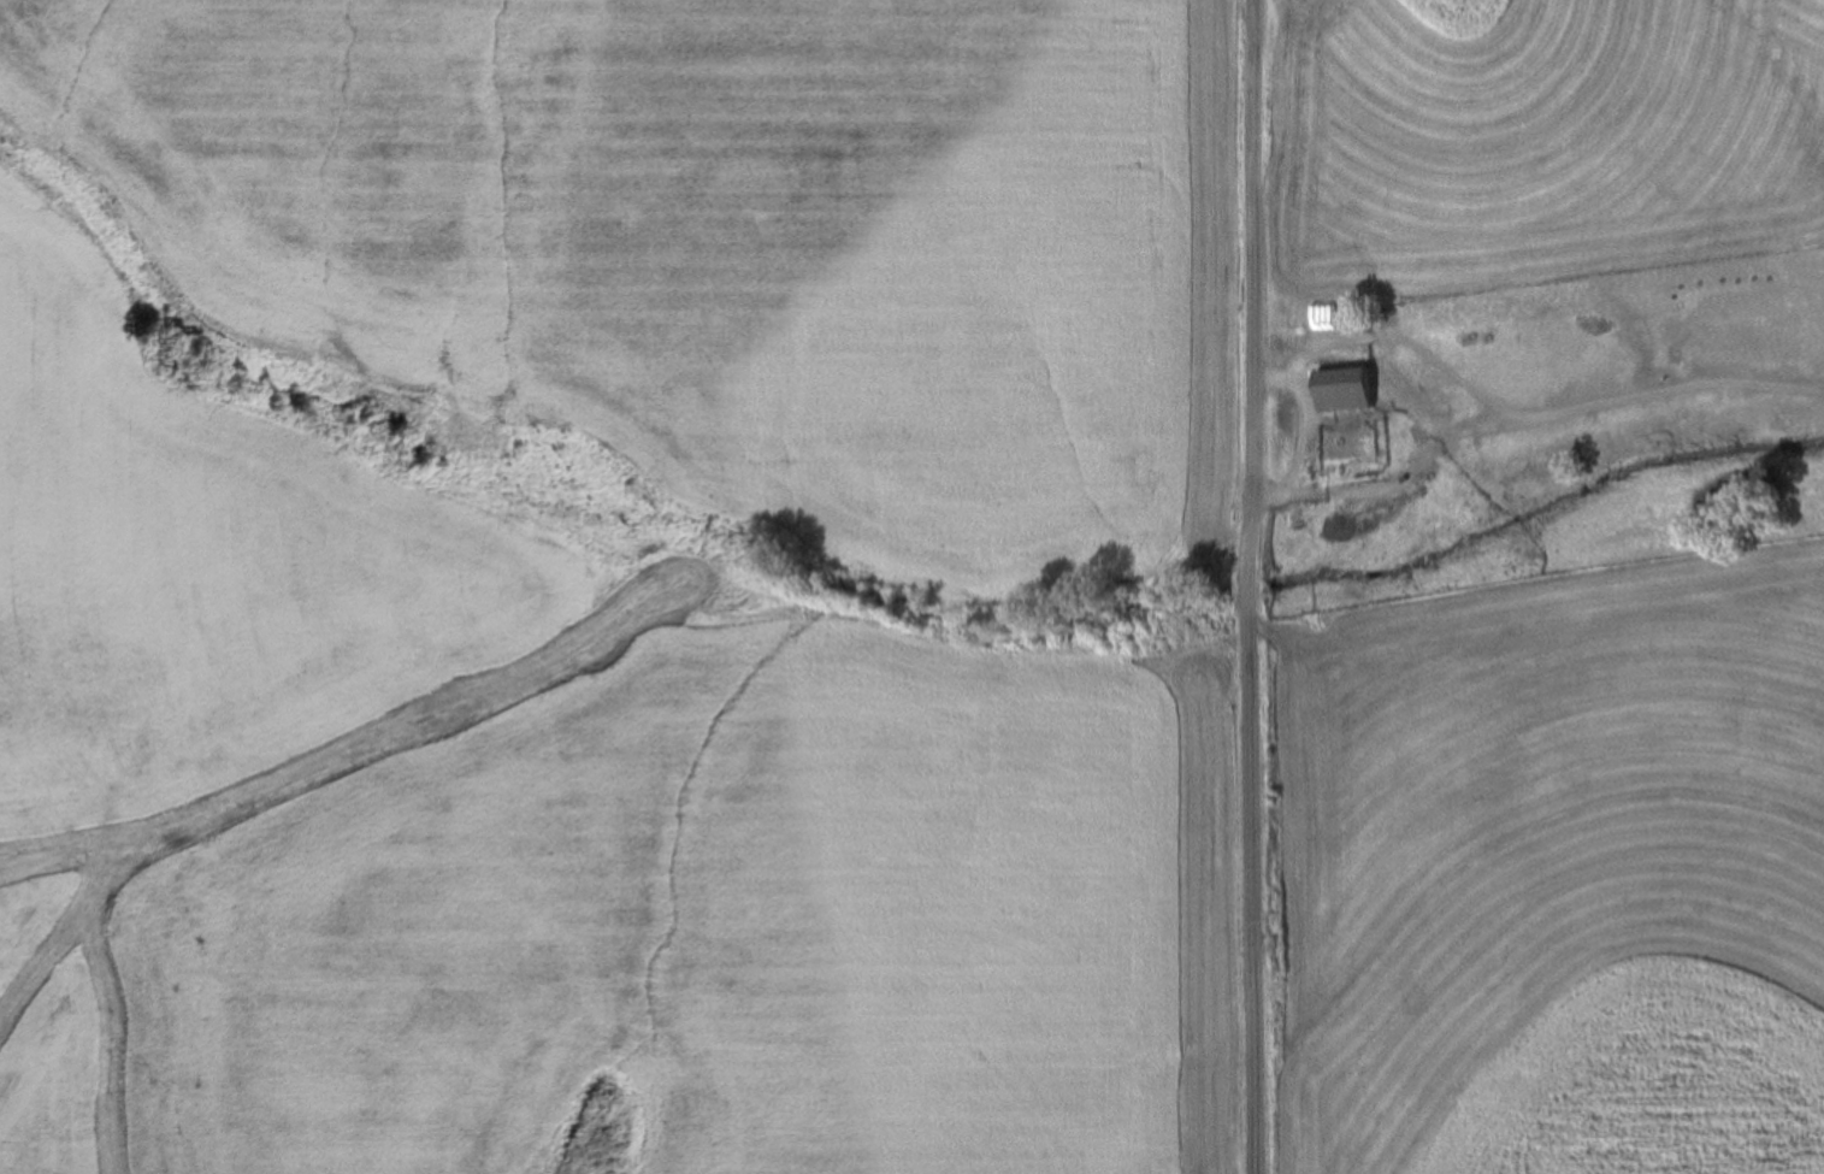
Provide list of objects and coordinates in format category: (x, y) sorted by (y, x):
building: (1348, 390)
road: (1533, 419)
road: (1255, 586)

